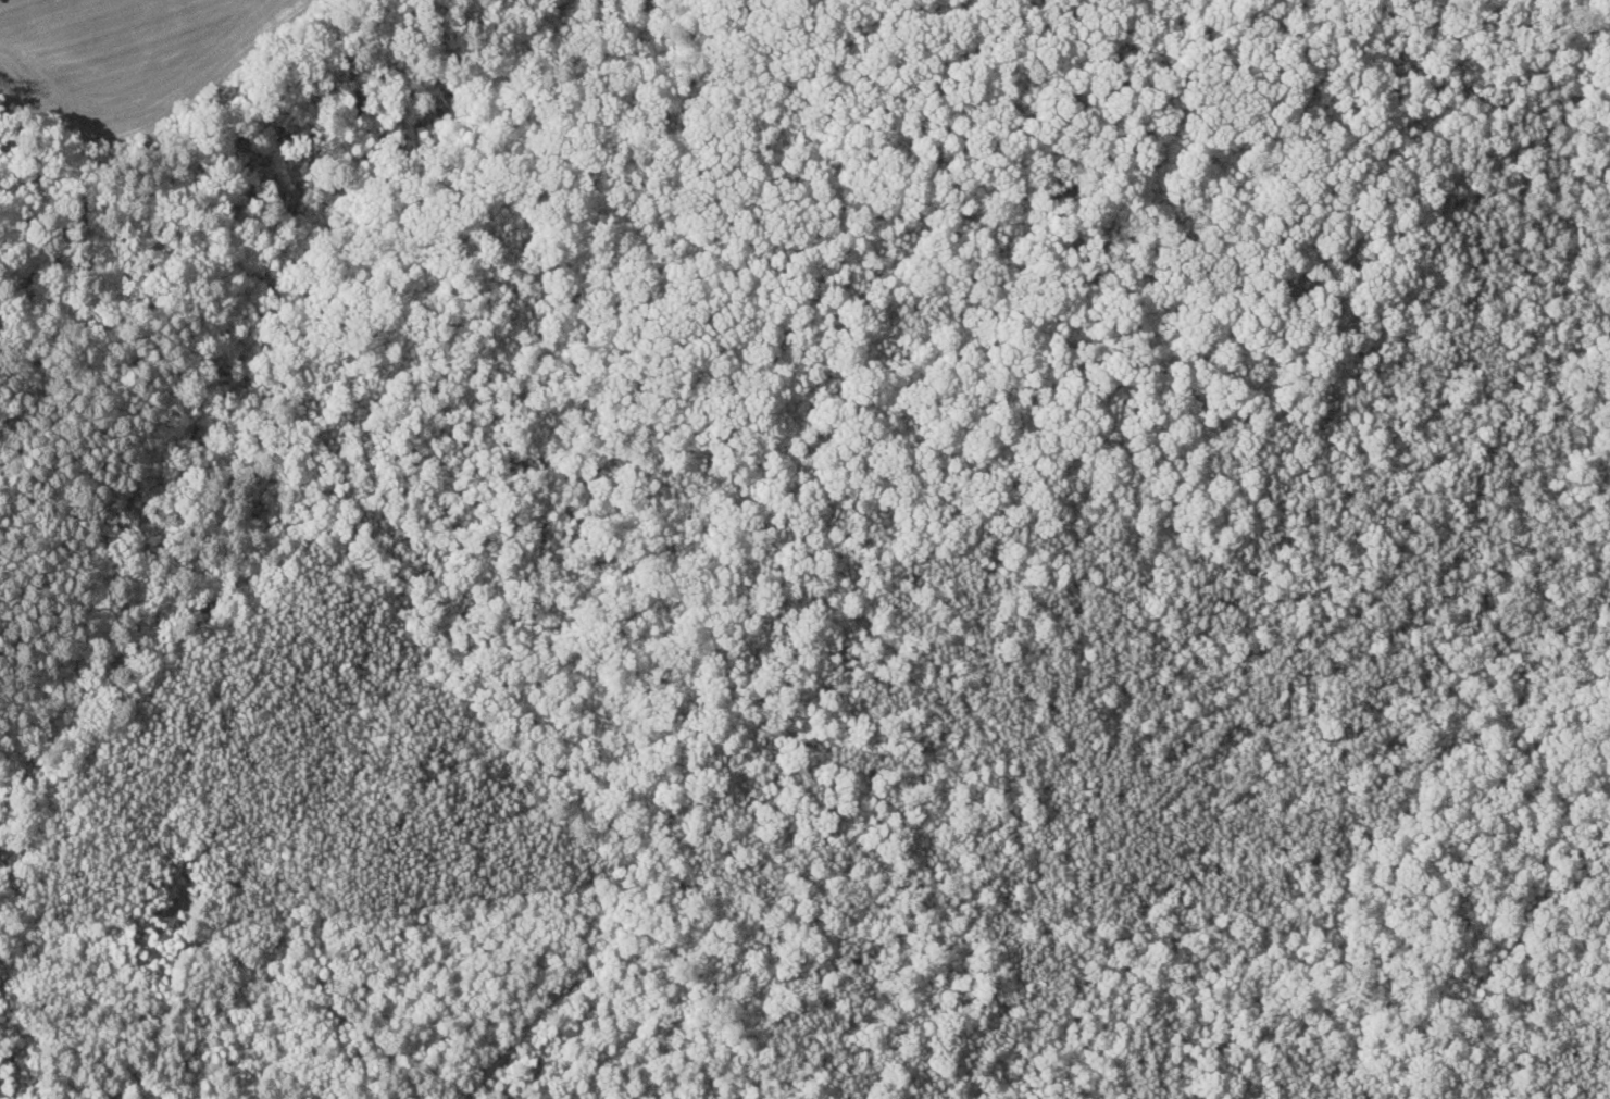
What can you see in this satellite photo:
road: (161, 1017)

